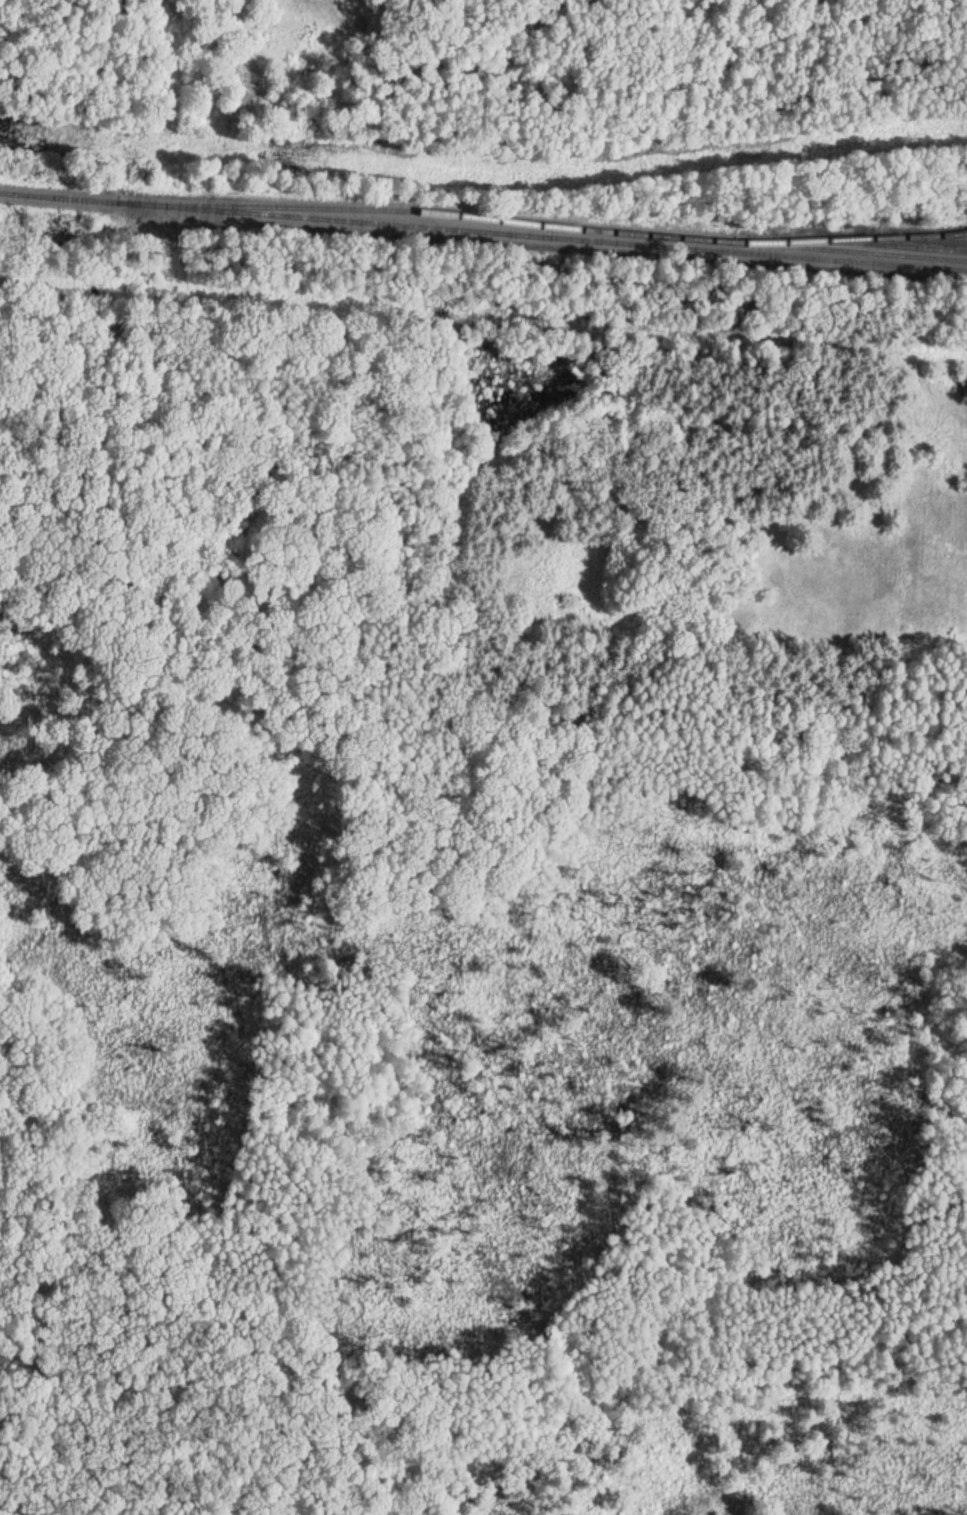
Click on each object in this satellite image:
railway: (466, 213)
railway: (483, 228)
railway: (867, 238)
railway: (941, 238)
railway: (897, 244)
railway: (867, 251)
road: (483, 315)
building: (966, 383)
road: (41, 1477)

